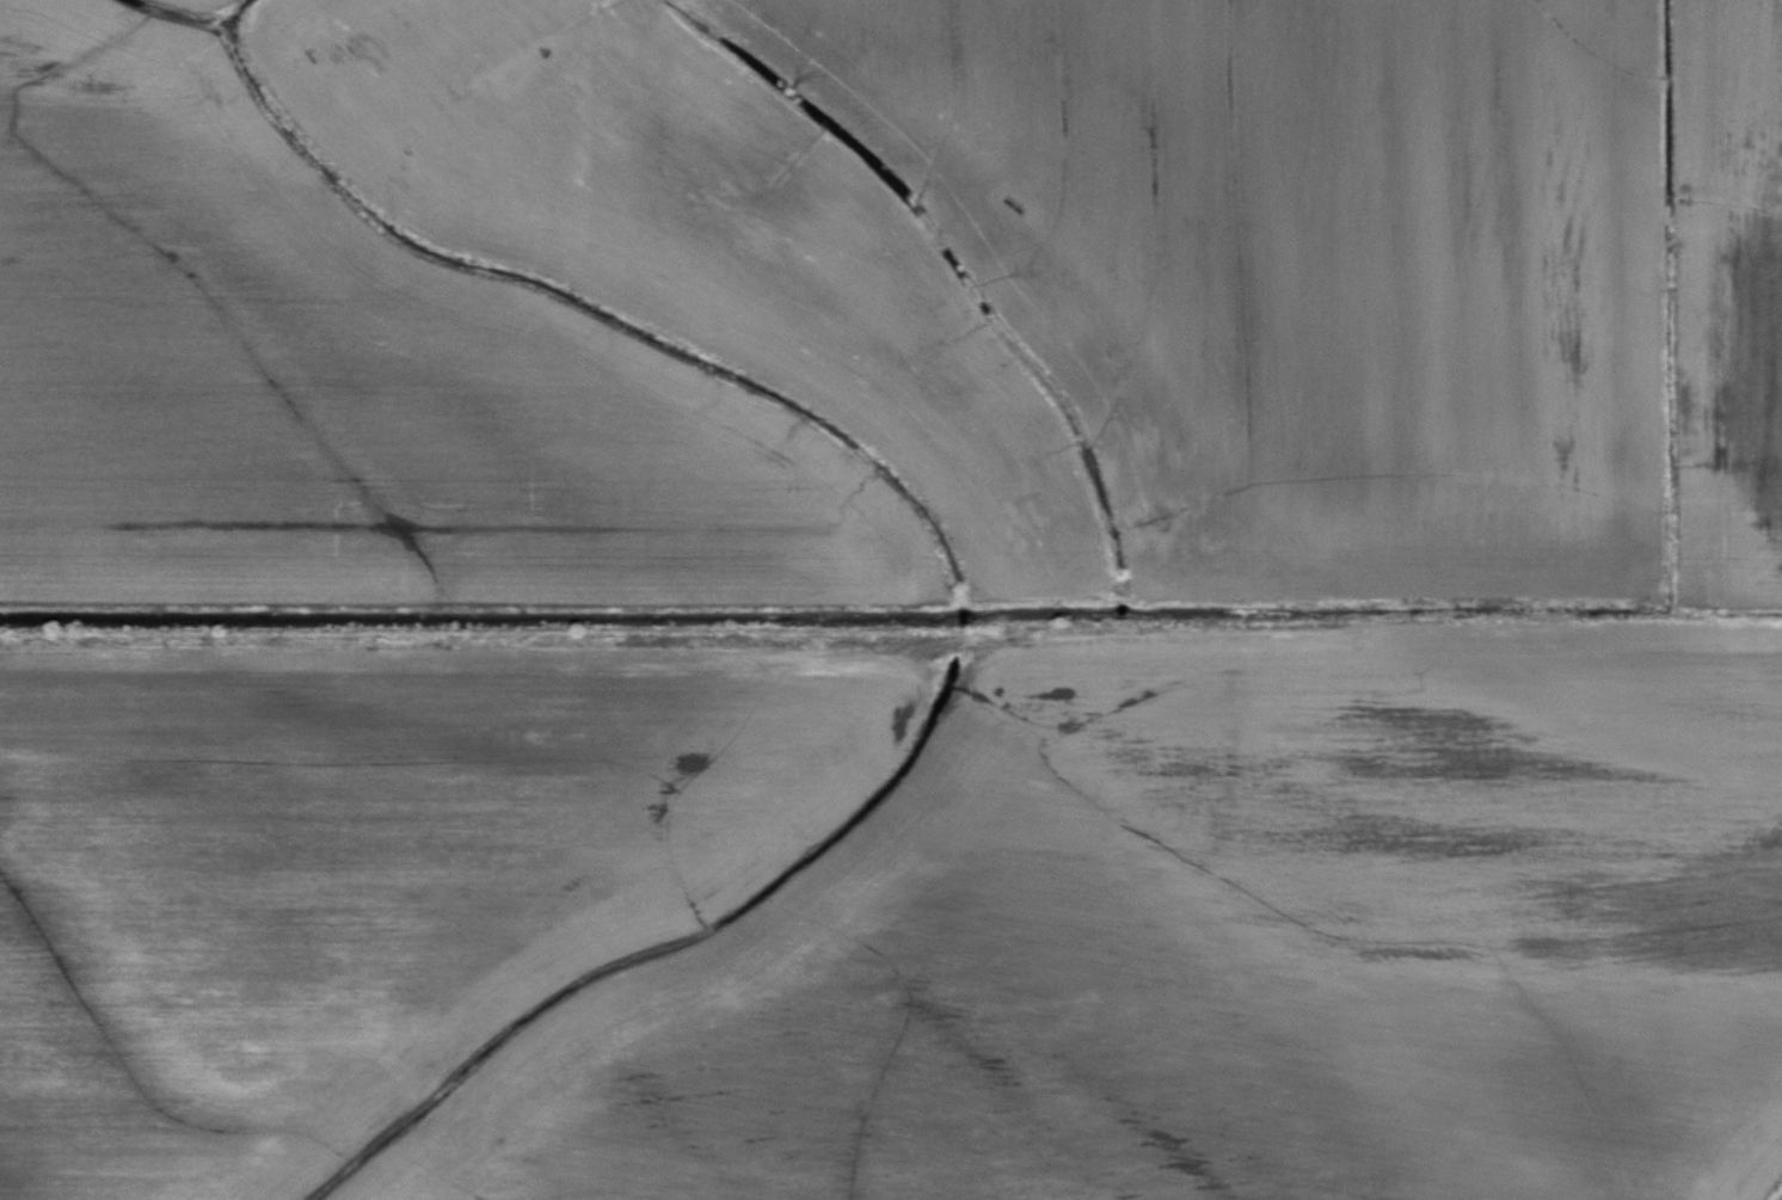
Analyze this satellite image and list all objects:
road: (891, 658)

